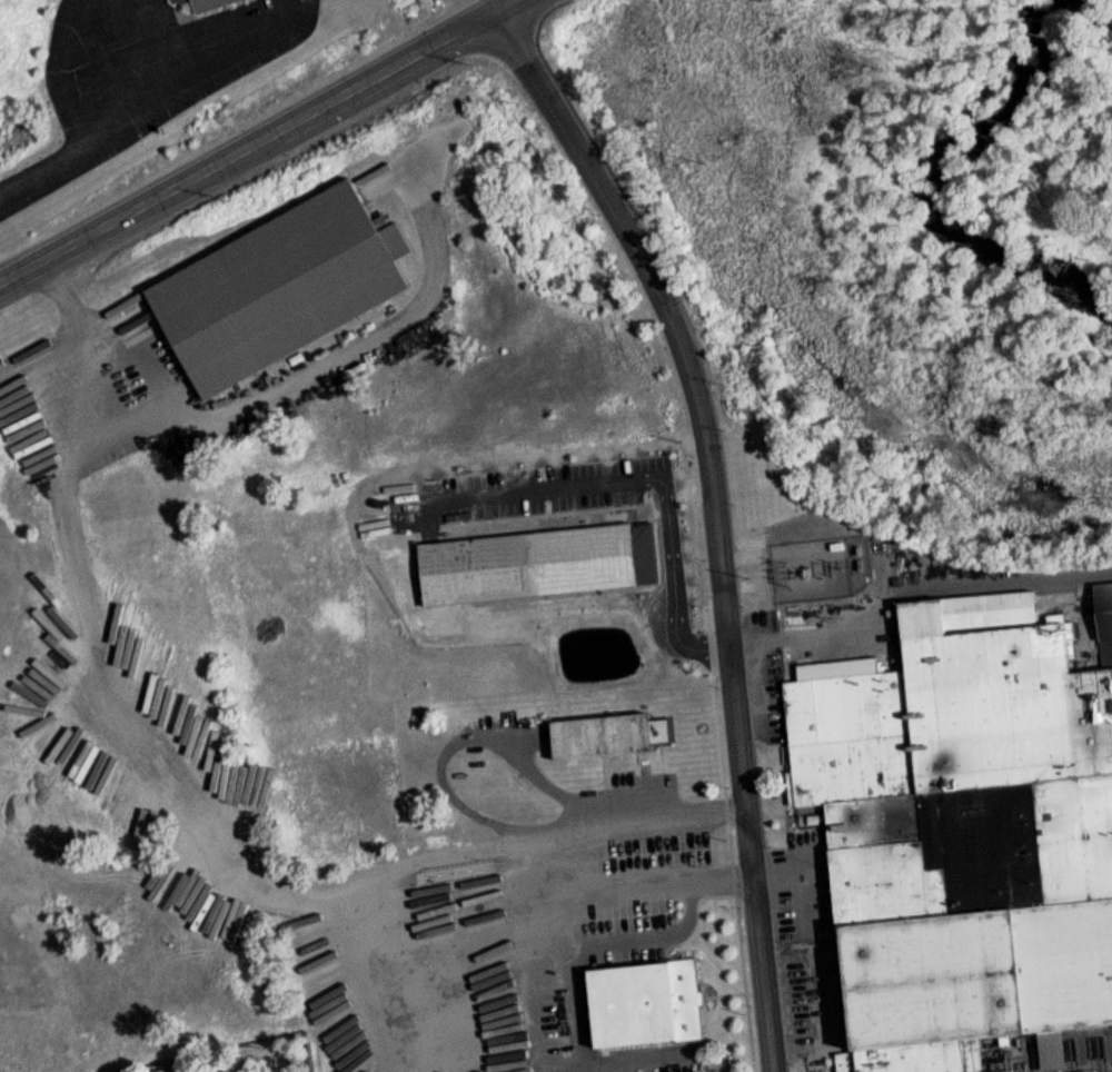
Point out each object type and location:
building: (149, 0)
building: (202, 6)
road: (496, 7)
road: (135, 115)
road: (260, 142)
building: (277, 287)
road: (594, 486)
road: (715, 517)
building: (530, 570)
road: (903, 584)
building: (169, 679)
building: (177, 703)
road: (122, 706)
building: (202, 722)
building: (592, 744)
road: (448, 747)
road: (597, 815)
building: (950, 834)
road: (518, 912)
building: (637, 1010)
building: (489, 1014)

